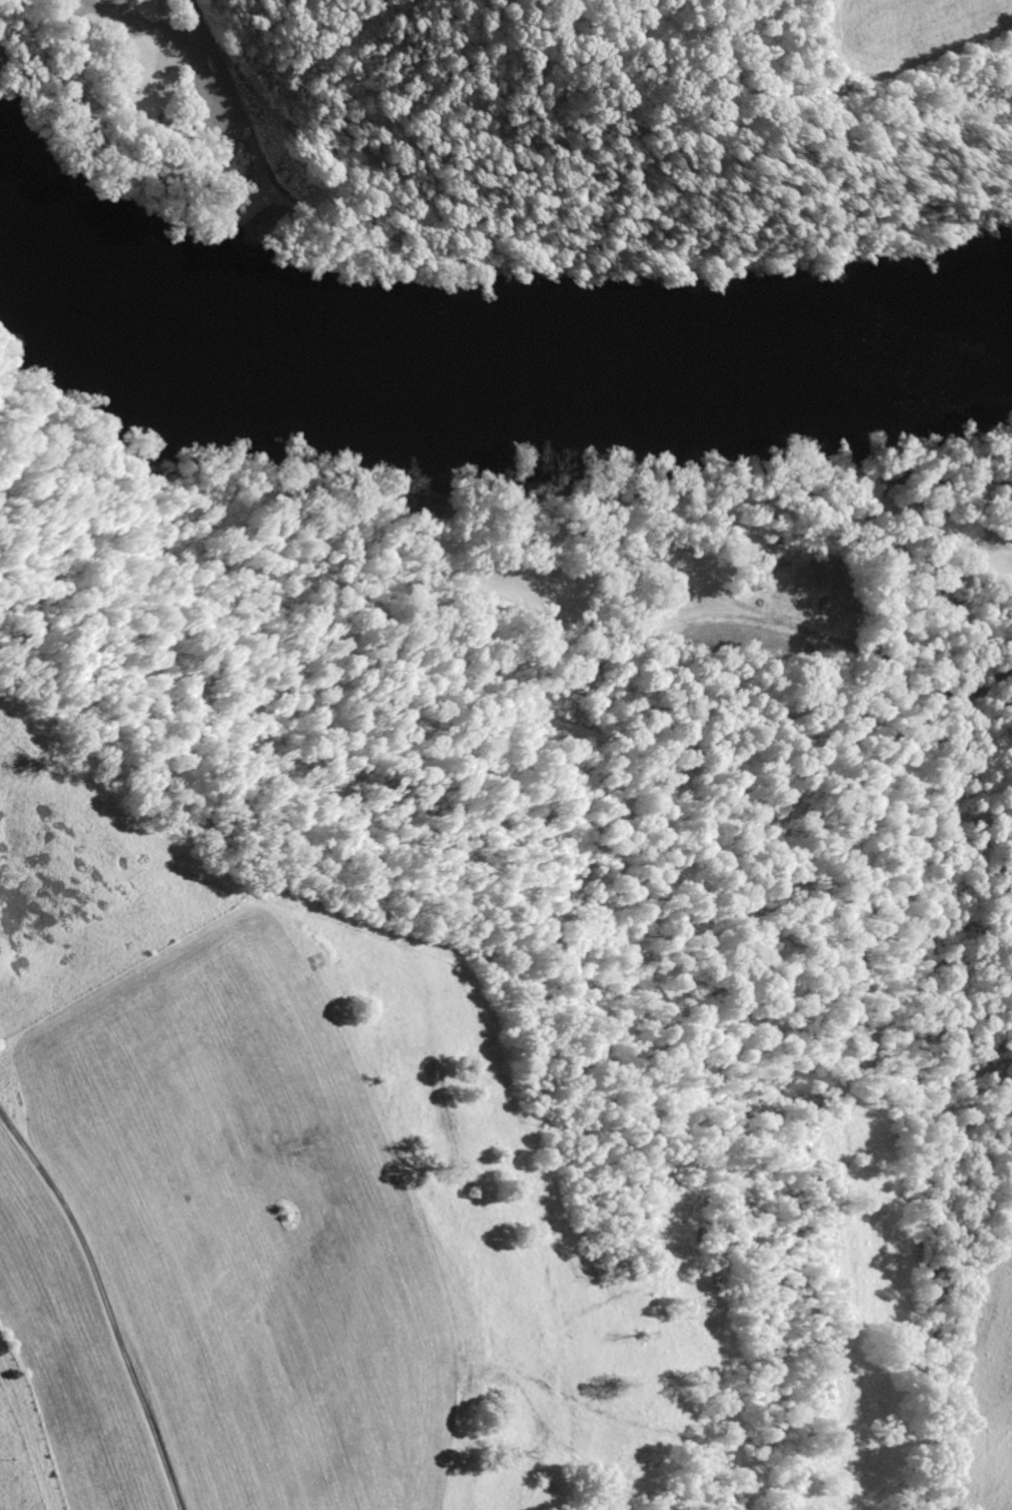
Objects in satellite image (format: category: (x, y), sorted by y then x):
road: (112, 11)
road: (132, 11)
road: (177, 34)
road: (240, 105)
river: (469, 369)
road: (840, 650)

